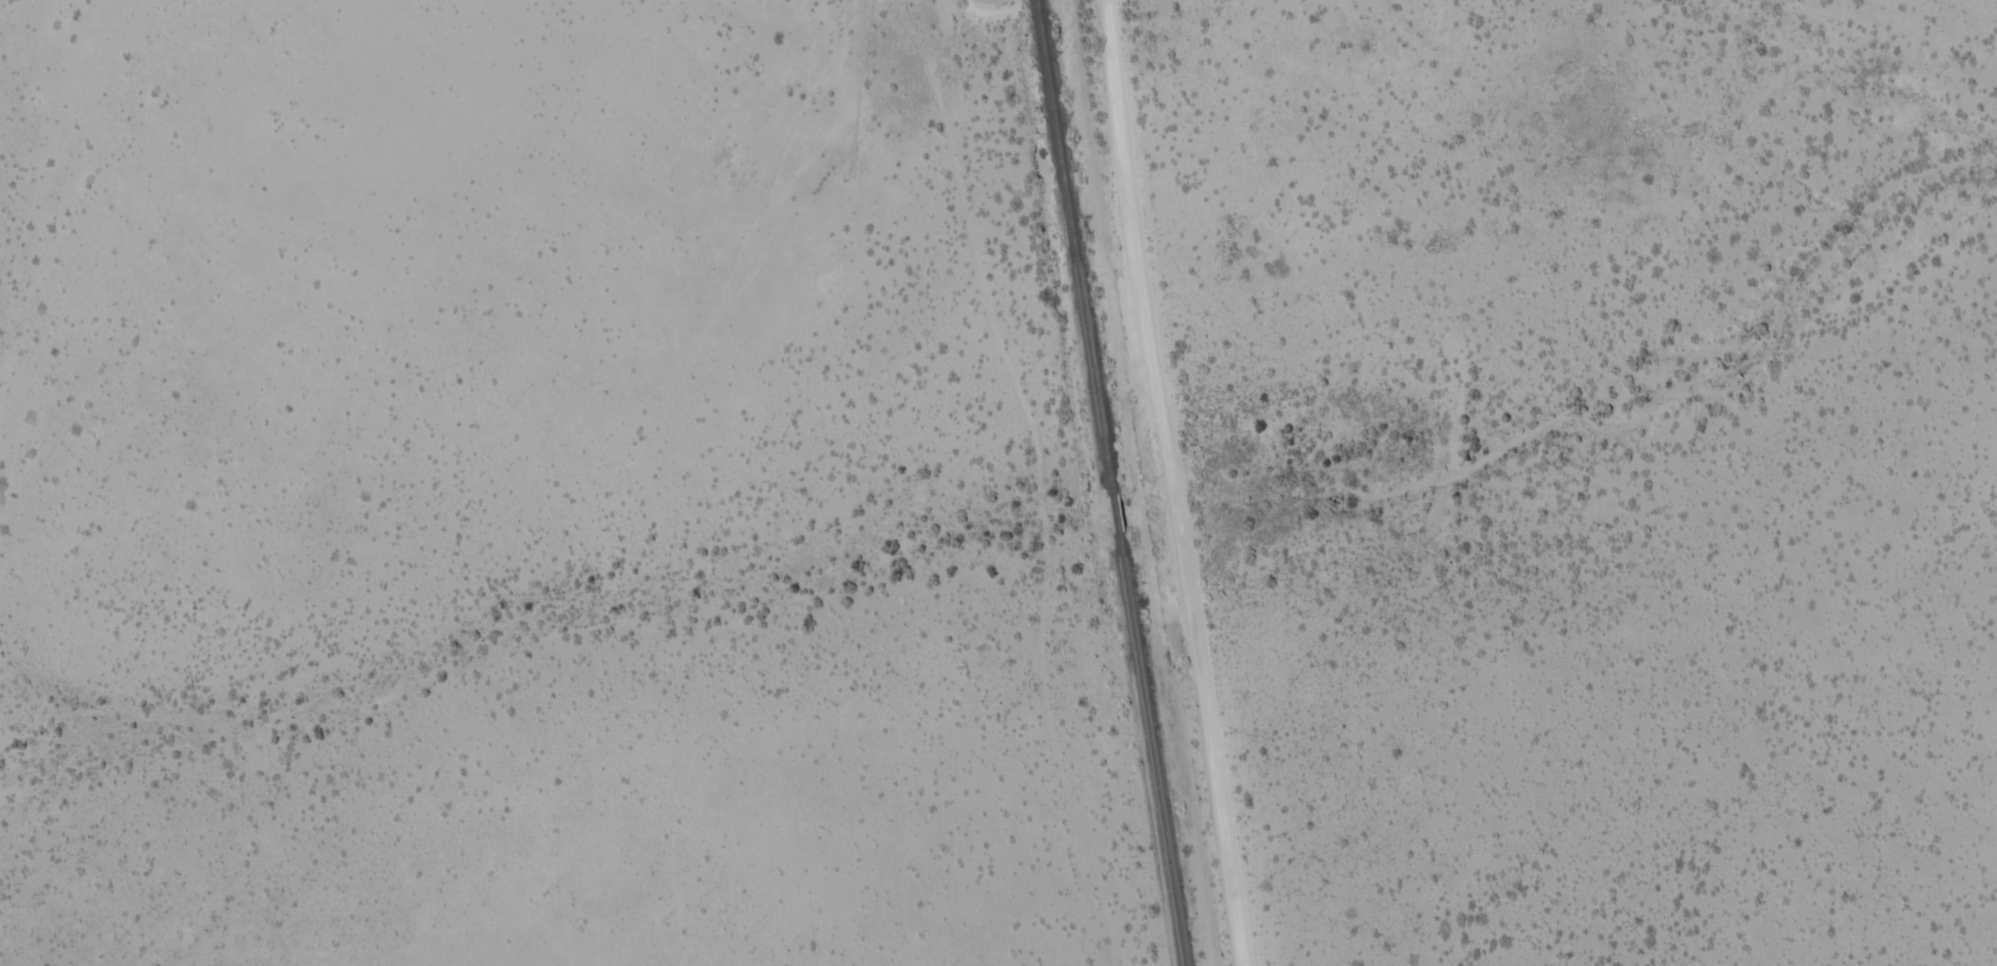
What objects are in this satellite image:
railway: (1076, 251)
road: (1171, 483)
railway: (1118, 517)
railway: (1152, 748)

